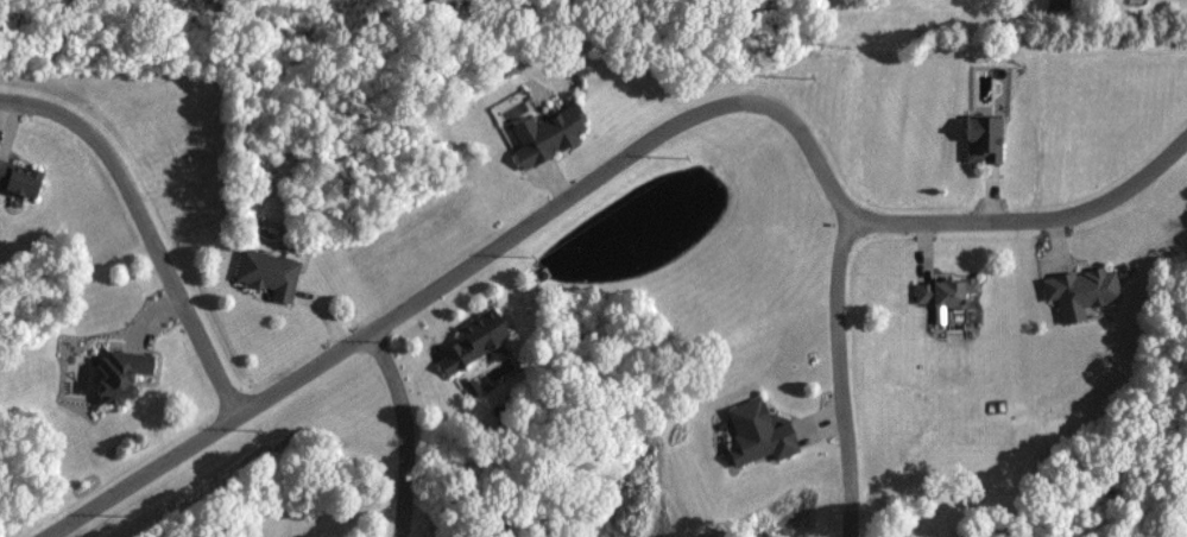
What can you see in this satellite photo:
building: (551, 135)
building: (985, 139)
road: (610, 168)
building: (23, 178)
road: (143, 222)
building: (270, 272)
building: (946, 290)
building: (1084, 290)
building: (479, 339)
building: (125, 373)
road: (841, 378)
road: (408, 427)
building: (762, 431)

